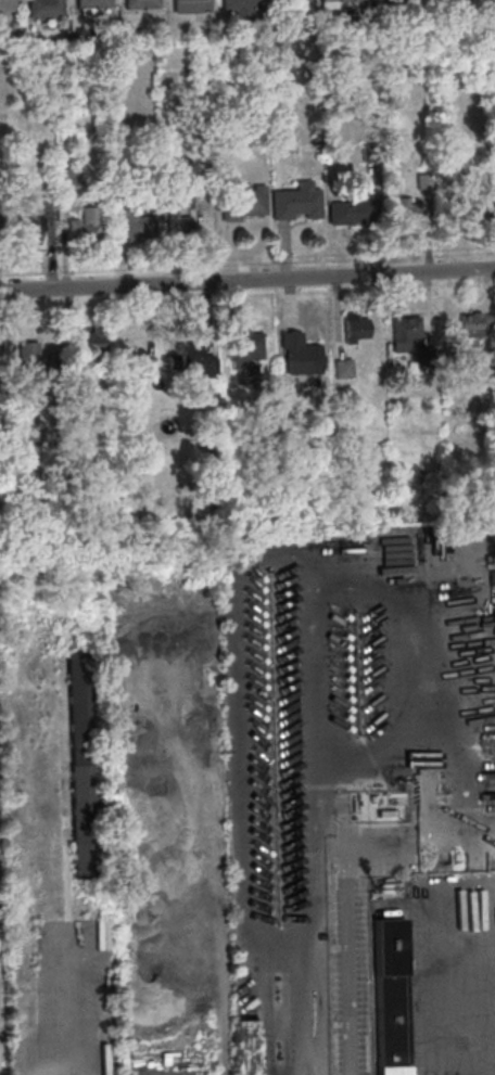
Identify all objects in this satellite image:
building: (384, 0)
building: (143, 3)
building: (332, 3)
building: (238, 4)
building: (7, 5)
building: (91, 5)
building: (189, 7)
building: (46, 8)
building: (240, 201)
building: (293, 201)
building: (414, 209)
building: (342, 213)
building: (475, 214)
building: (179, 225)
building: (82, 226)
building: (141, 227)
building: (29, 233)
road: (247, 281)
building: (474, 324)
building: (358, 327)
building: (408, 335)
building: (96, 341)
building: (245, 346)
building: (301, 355)
building: (36, 357)
building: (198, 359)
building: (0, 362)
building: (345, 368)
building: (81, 764)
building: (150, 805)
road: (348, 962)
building: (389, 997)
road: (478, 1025)
building: (247, 1047)

